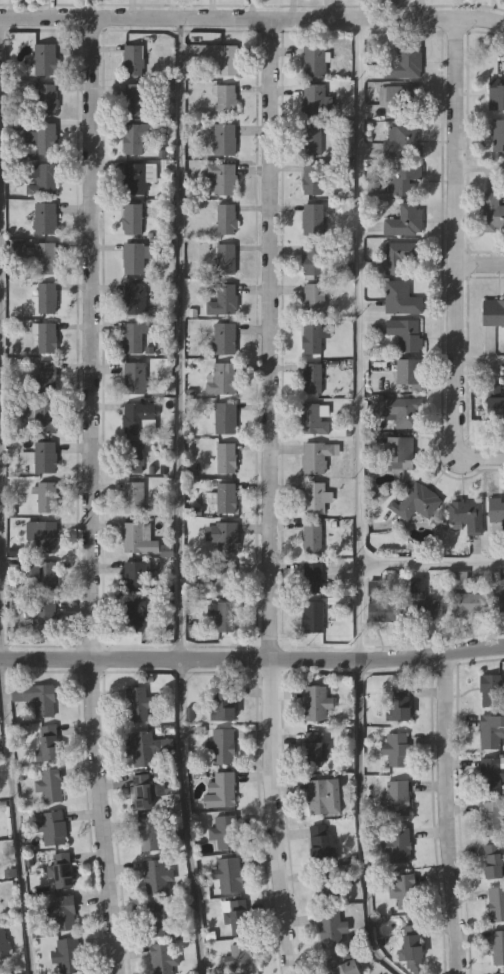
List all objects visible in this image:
road: (252, 17)
building: (220, 57)
building: (45, 60)
building: (133, 60)
building: (405, 60)
building: (313, 61)
building: (496, 97)
building: (44, 98)
building: (136, 100)
building: (226, 100)
building: (314, 100)
building: (399, 101)
building: (497, 136)
building: (42, 138)
building: (133, 139)
building: (311, 139)
building: (224, 140)
building: (403, 142)
road: (454, 143)
road: (479, 169)
building: (136, 178)
building: (221, 178)
building: (403, 178)
building: (41, 179)
building: (311, 180)
building: (492, 212)
building: (313, 216)
building: (44, 218)
building: (132, 219)
building: (226, 219)
building: (404, 220)
building: (400, 256)
building: (44, 258)
building: (135, 258)
building: (225, 259)
building: (313, 260)
road: (481, 263)
building: (46, 298)
building: (134, 298)
building: (400, 298)
building: (313, 299)
building: (222, 300)
building: (493, 313)
building: (405, 334)
road: (1, 337)
building: (45, 338)
road: (178, 338)
road: (360, 338)
building: (134, 339)
building: (223, 339)
building: (311, 339)
road: (455, 359)
road: (479, 359)
building: (409, 373)
building: (43, 377)
building: (134, 378)
building: (221, 379)
building: (311, 379)
building: (496, 410)
building: (403, 411)
building: (44, 417)
building: (136, 417)
building: (225, 418)
building: (313, 419)
building: (399, 451)
building: (316, 456)
road: (484, 456)
building: (44, 457)
building: (132, 457)
building: (226, 458)
road: (90, 496)
road: (269, 496)
building: (47, 497)
building: (132, 497)
building: (225, 498)
building: (314, 498)
building: (416, 502)
building: (496, 506)
building: (466, 516)
building: (223, 536)
building: (44, 537)
building: (138, 538)
building: (311, 538)
road: (432, 564)
building: (39, 574)
building: (135, 578)
building: (224, 578)
building: (313, 579)
building: (501, 601)
building: (422, 602)
building: (468, 603)
building: (384, 611)
building: (44, 616)
building: (133, 617)
building: (225, 617)
building: (312, 617)
road: (252, 659)
building: (490, 690)
building: (36, 697)
building: (316, 702)
building: (137, 704)
building: (399, 704)
building: (222, 708)
building: (490, 731)
building: (49, 742)
building: (222, 745)
building: (142, 748)
building: (315, 749)
building: (395, 749)
building: (491, 773)
building: (50, 784)
building: (220, 790)
building: (143, 791)
building: (323, 796)
building: (394, 797)
road: (445, 813)
road: (16, 816)
road: (187, 816)
building: (493, 818)
road: (361, 822)
building: (50, 826)
building: (224, 831)
building: (149, 832)
building: (319, 841)
building: (397, 845)
building: (493, 860)
building: (62, 870)
building: (229, 874)
building: (156, 876)
building: (326, 884)
building: (403, 890)
building: (496, 903)
building: (64, 912)
building: (235, 914)
building: (156, 918)
building: (330, 927)
building: (411, 946)
building: (498, 947)
building: (66, 955)
building: (163, 958)
building: (240, 958)
building: (344, 963)
building: (6, 973)
building: (498, 973)

